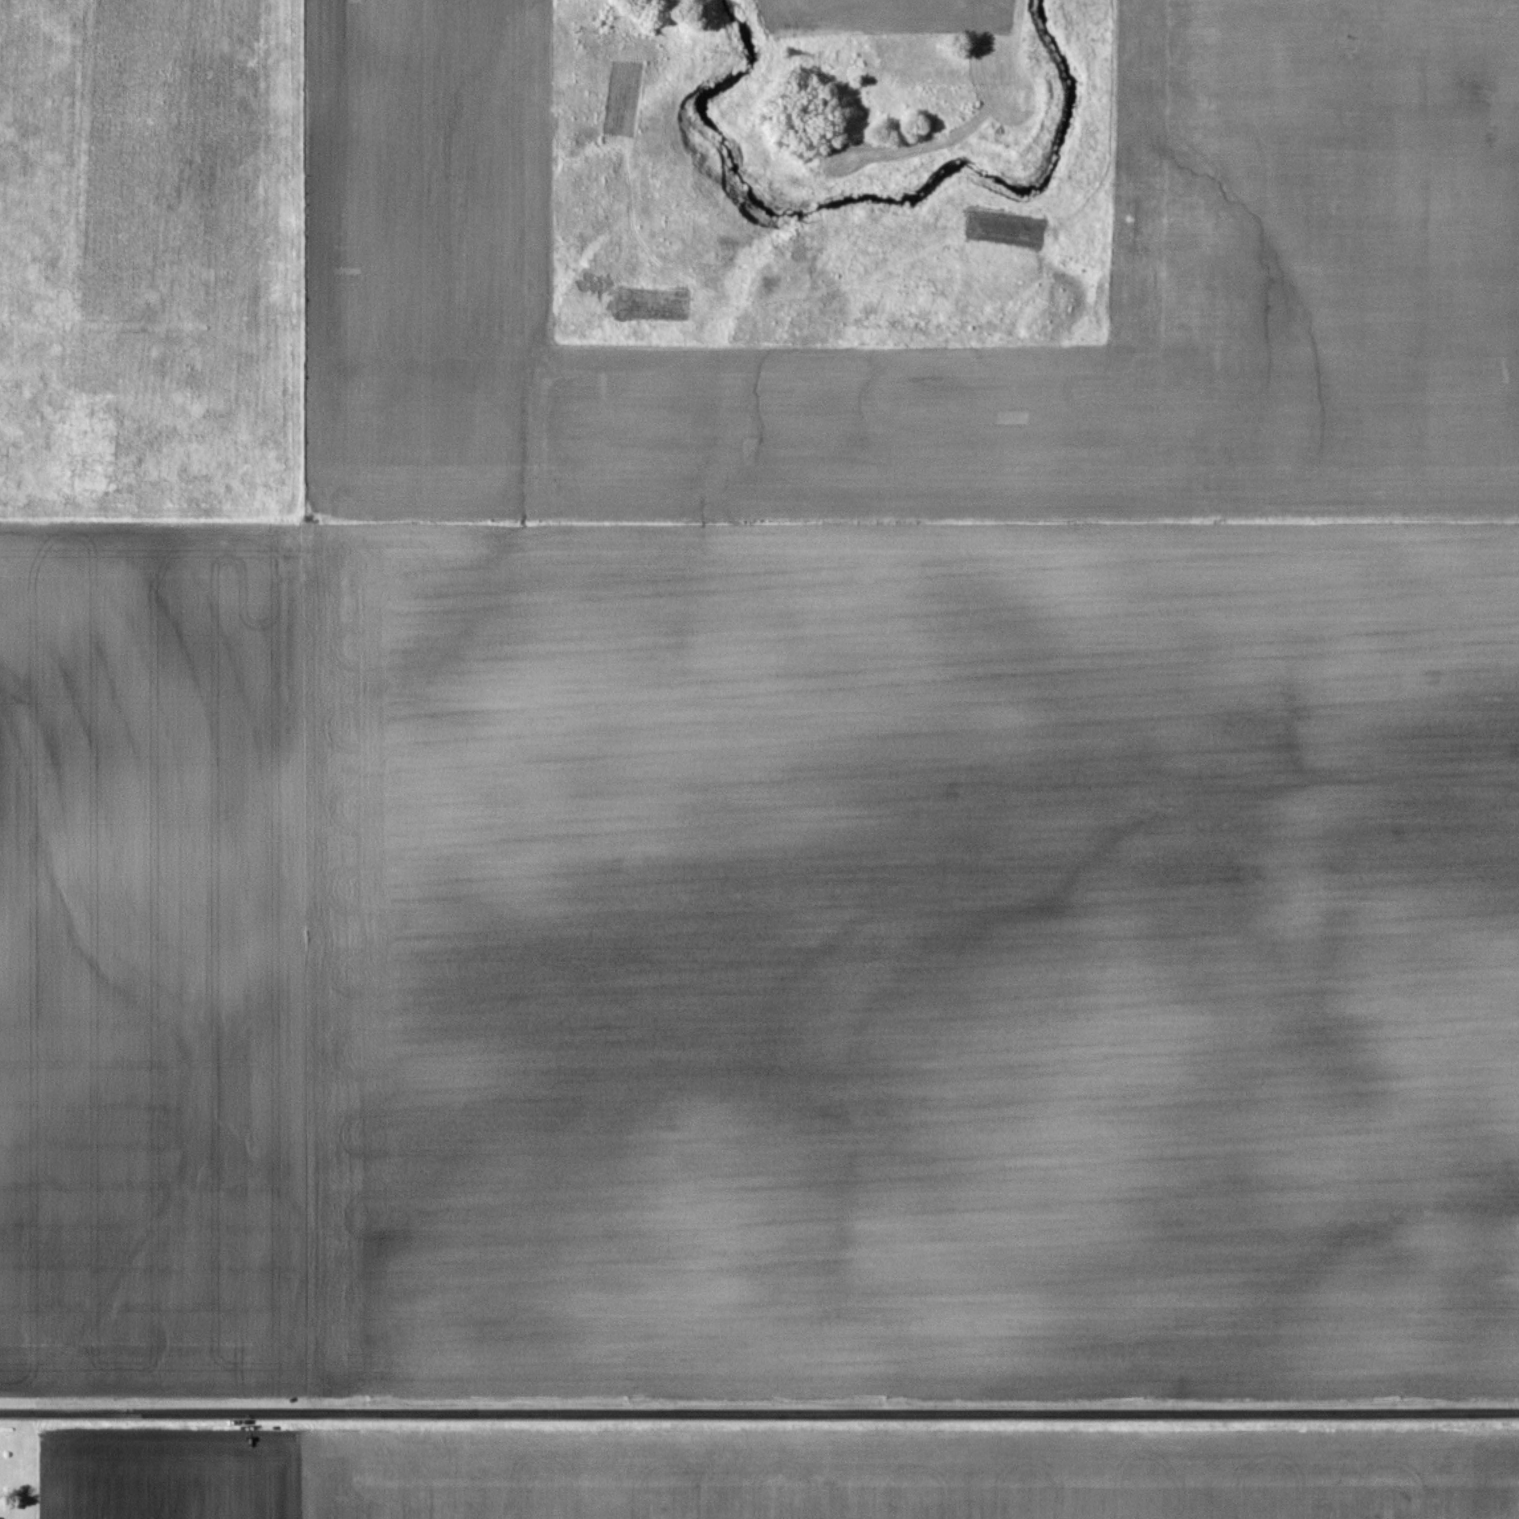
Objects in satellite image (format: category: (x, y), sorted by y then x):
road: (759, 1413)

